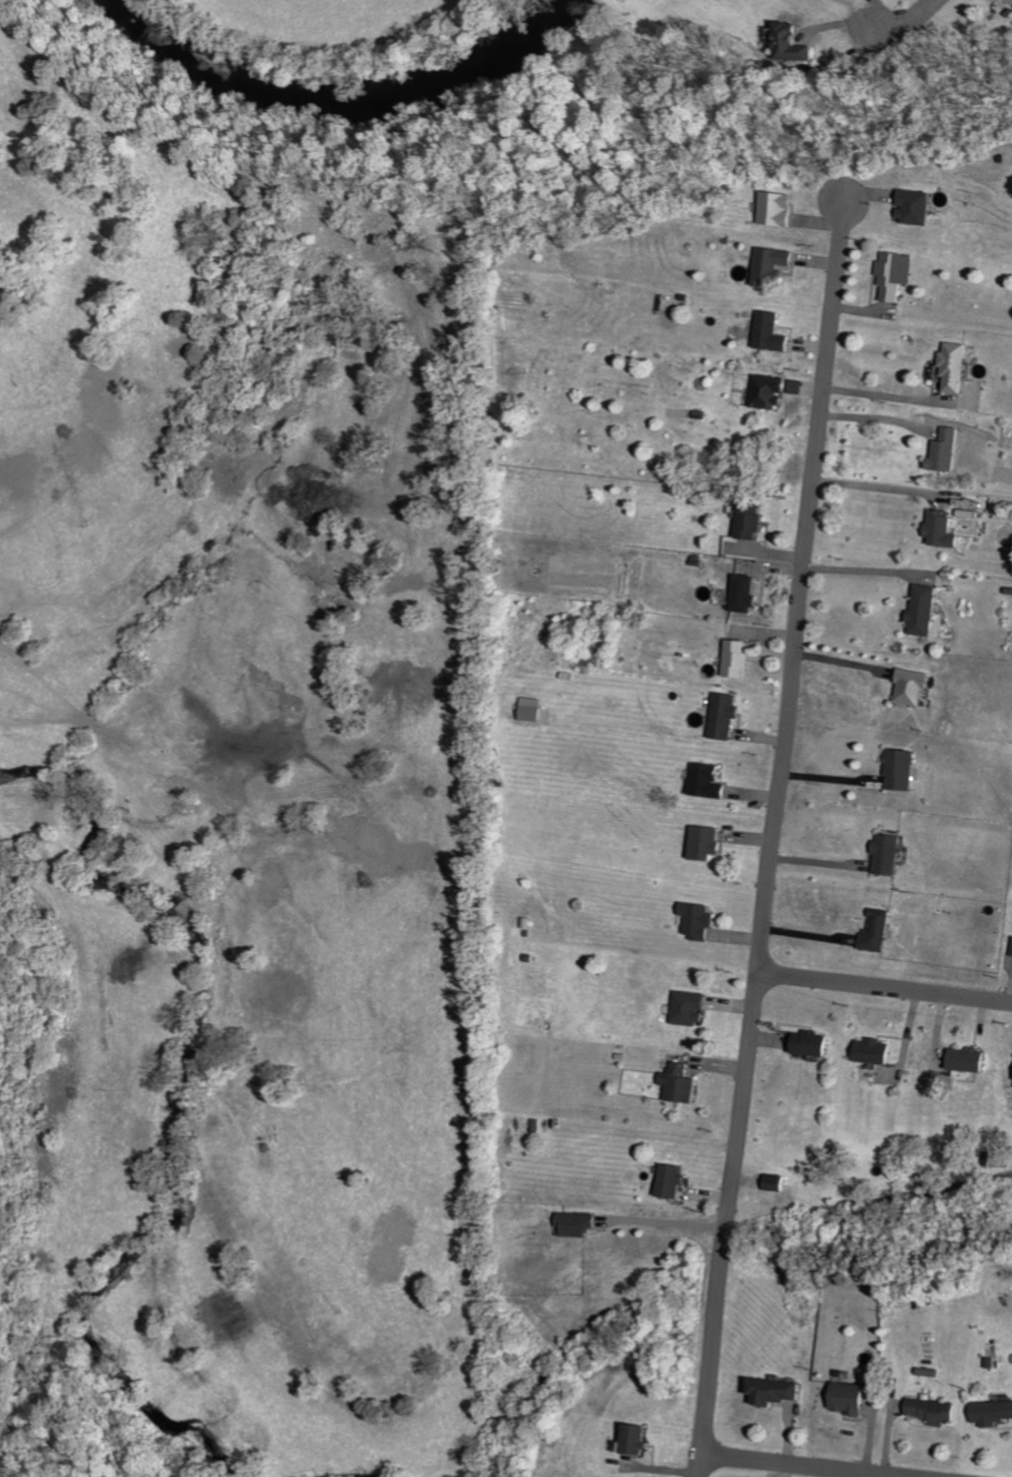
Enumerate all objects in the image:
road: (909, 20)
building: (918, 207)
building: (780, 209)
building: (775, 265)
building: (897, 275)
building: (773, 333)
building: (957, 367)
building: (770, 391)
road: (888, 399)
road: (871, 420)
building: (949, 451)
road: (869, 489)
building: (755, 521)
building: (944, 531)
road: (862, 572)
building: (749, 594)
building: (925, 610)
building: (742, 659)
road: (841, 665)
building: (913, 687)
building: (535, 713)
building: (728, 715)
building: (900, 769)
building: (710, 780)
road: (773, 841)
building: (709, 842)
building: (887, 854)
building: (700, 920)
building: (877, 929)
road: (884, 988)
building: (691, 1008)
building: (814, 1043)
building: (877, 1050)
building: (973, 1059)
building: (682, 1083)
building: (675, 1181)
building: (580, 1223)
road: (671, 1223)
building: (778, 1391)
building: (852, 1398)
building: (936, 1410)
building: (992, 1413)
building: (640, 1439)
road: (796, 1465)

